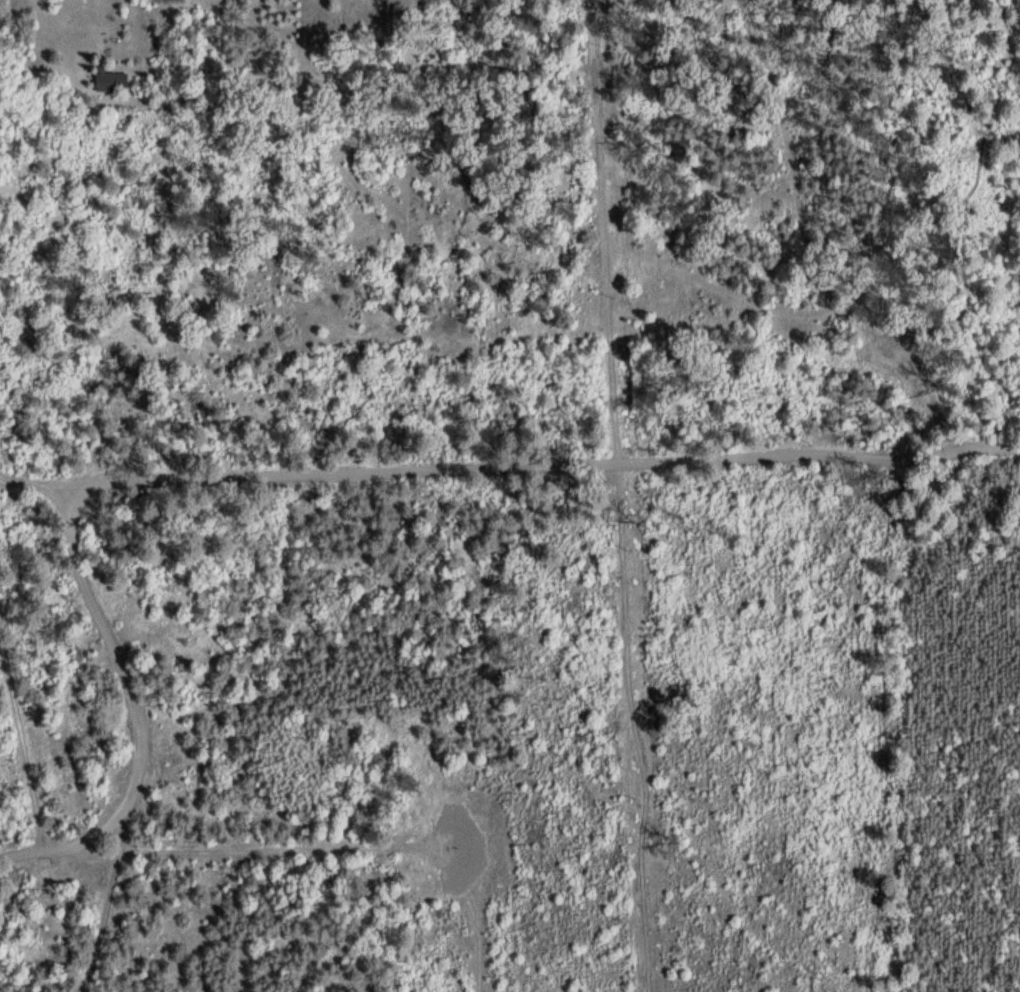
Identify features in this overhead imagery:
building: (104, 82)
road: (803, 242)
road: (510, 465)
road: (145, 729)
road: (329, 852)

